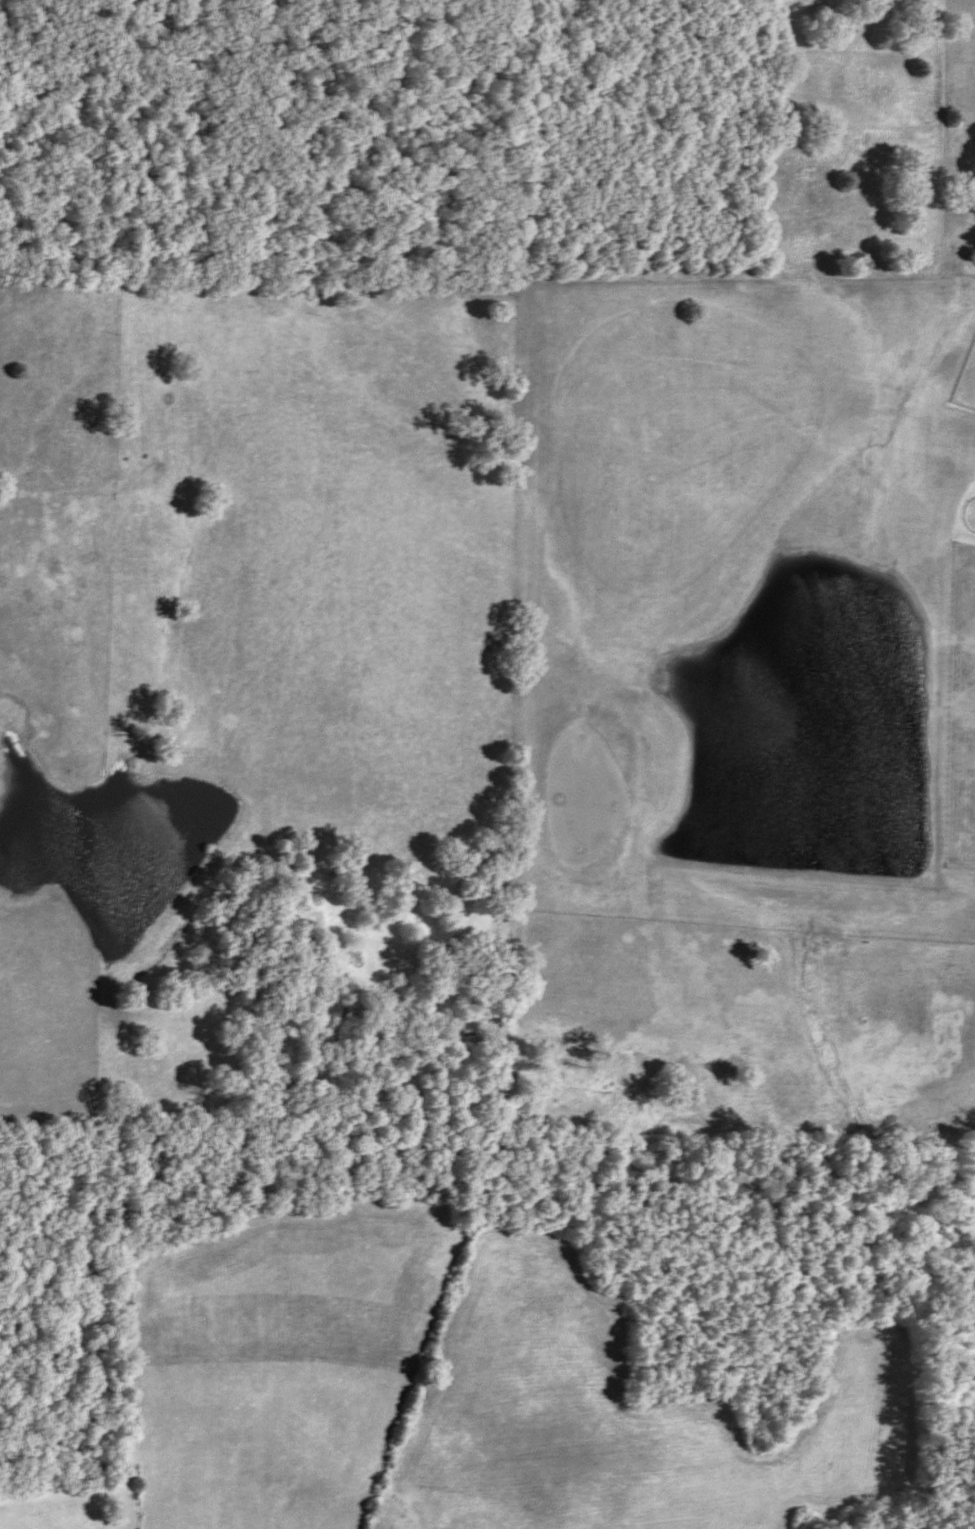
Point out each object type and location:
road: (94, 57)

